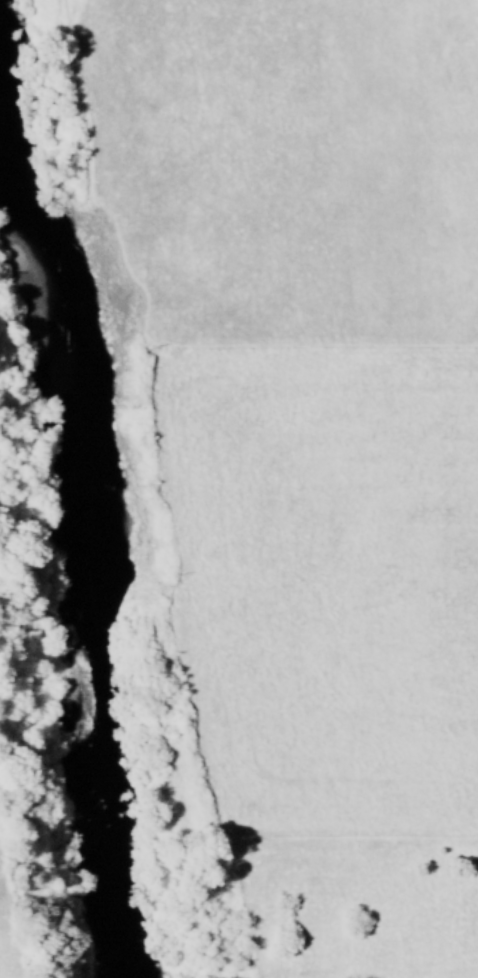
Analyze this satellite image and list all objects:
river: (67, 549)

